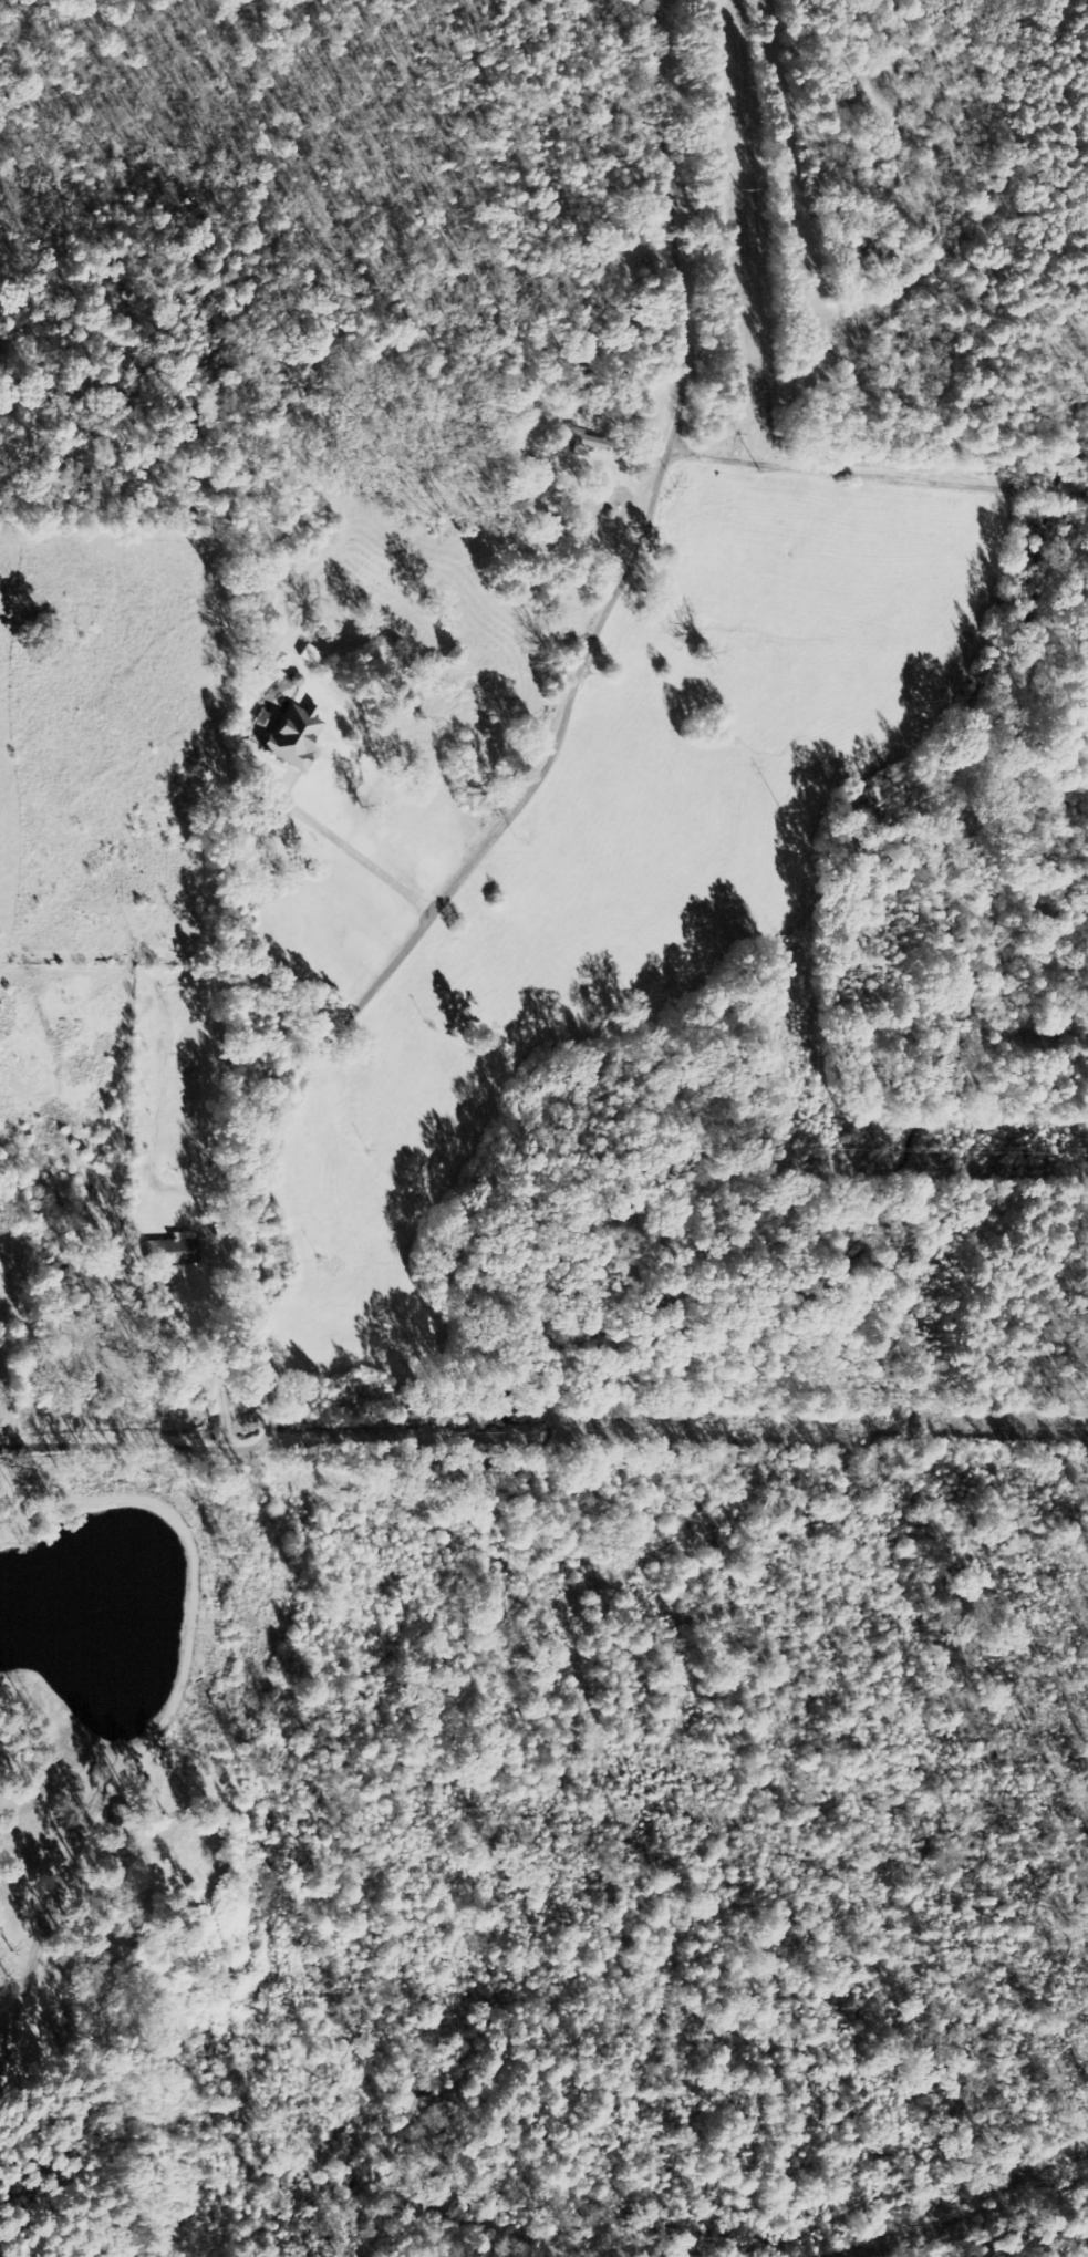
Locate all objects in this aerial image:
road: (879, 468)
building: (293, 735)
road: (551, 752)
road: (339, 845)
building: (203, 1247)
building: (173, 1251)
road: (203, 1370)
road: (135, 1442)
road: (169, 1698)
road: (2, 2023)
road: (3, 2039)

